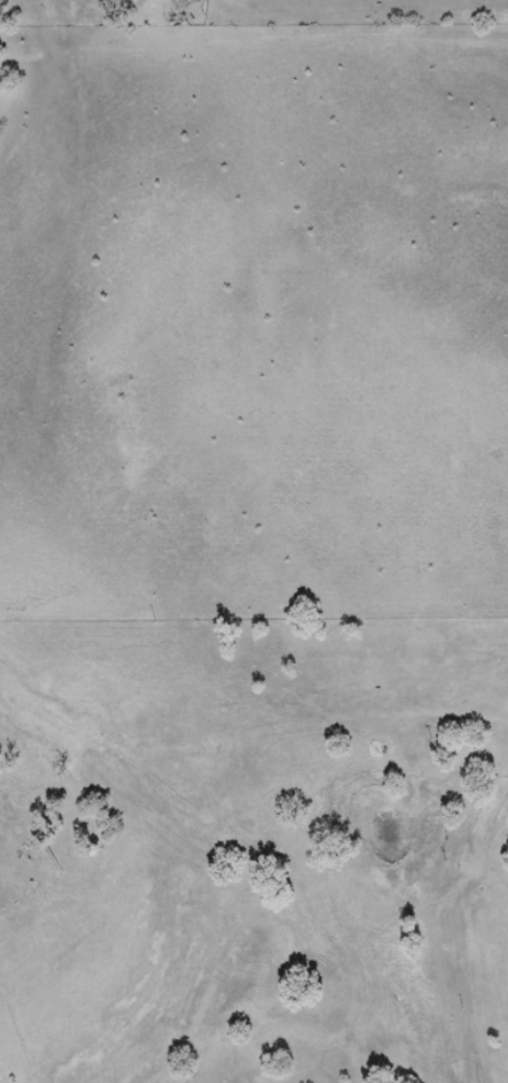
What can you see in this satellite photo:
road: (449, 1004)

